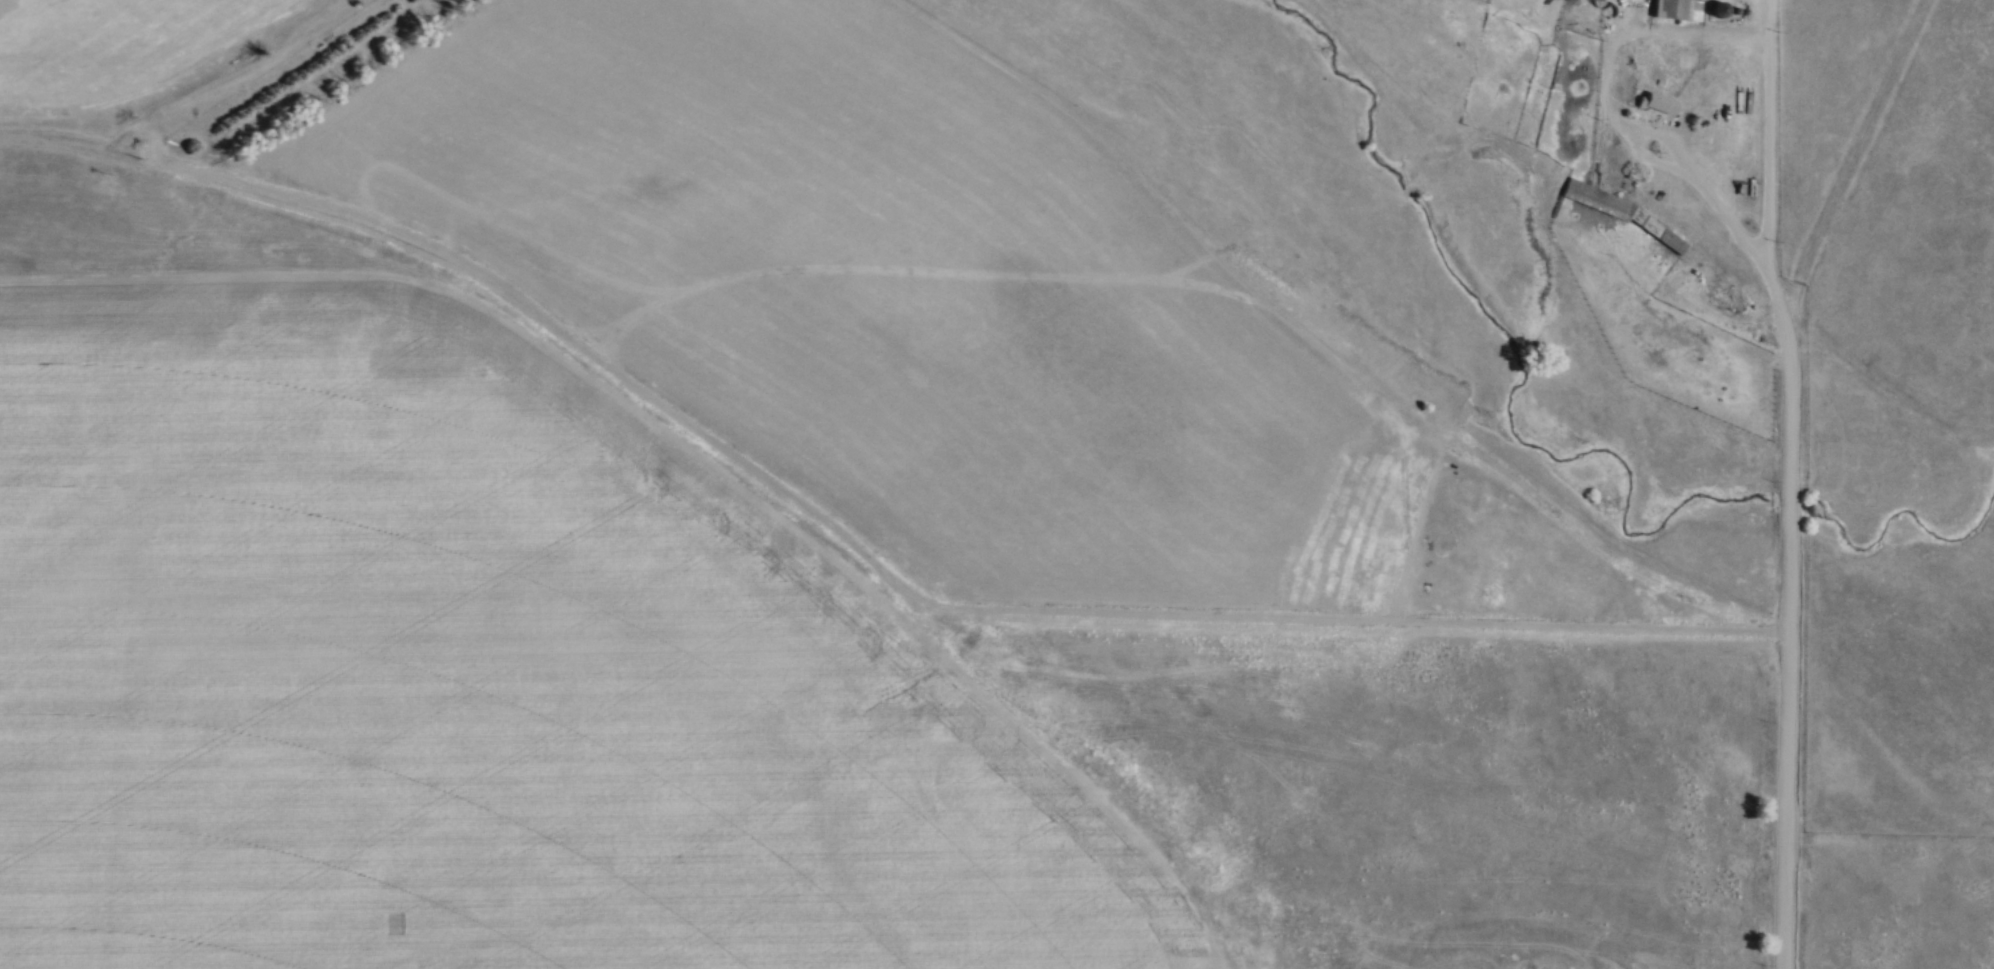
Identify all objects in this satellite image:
building: (1602, 0)
building: (1678, 10)
building: (1659, 103)
road: (1620, 130)
road: (1770, 133)
building: (1637, 218)
road: (1793, 641)

